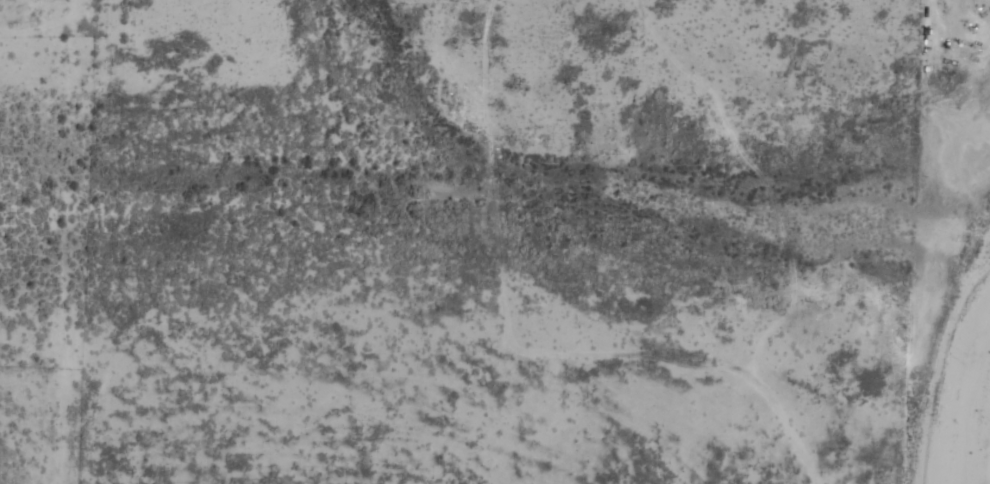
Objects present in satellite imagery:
raceway: (983, 434)

